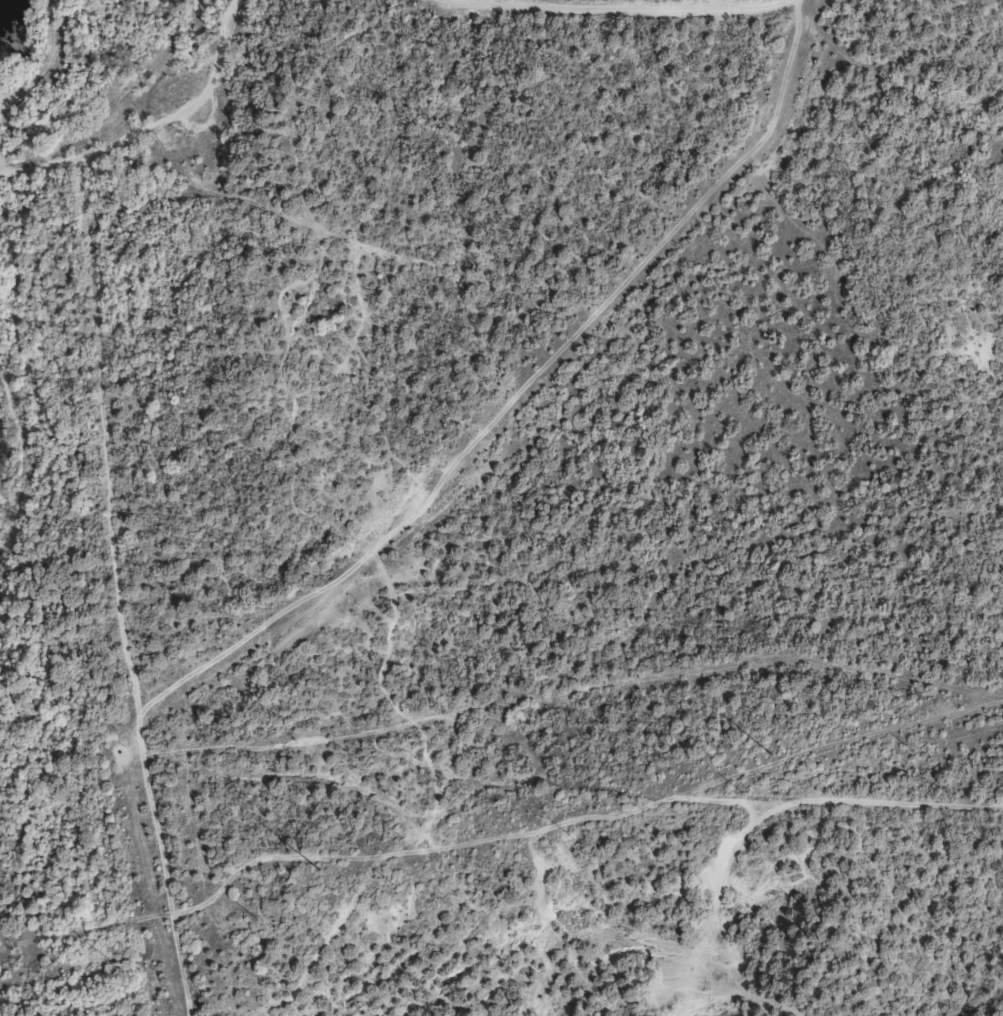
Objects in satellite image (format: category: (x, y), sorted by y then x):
road: (655, 26)
road: (142, 114)
power tower: (767, 754)
power tower: (316, 871)

